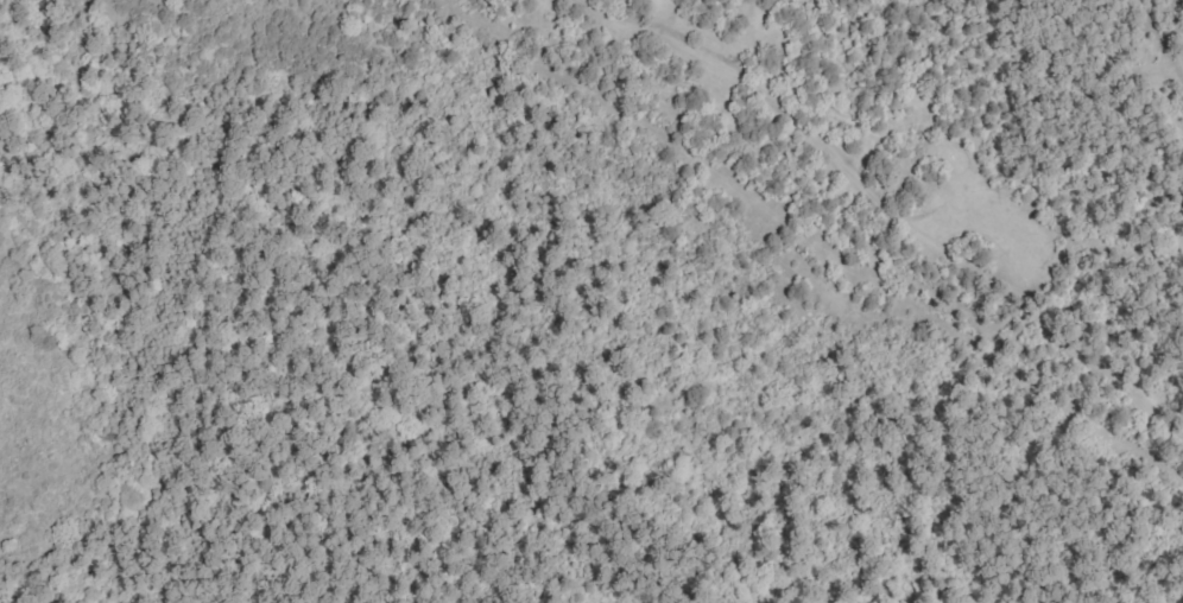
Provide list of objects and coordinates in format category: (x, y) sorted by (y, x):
road: (892, 207)

